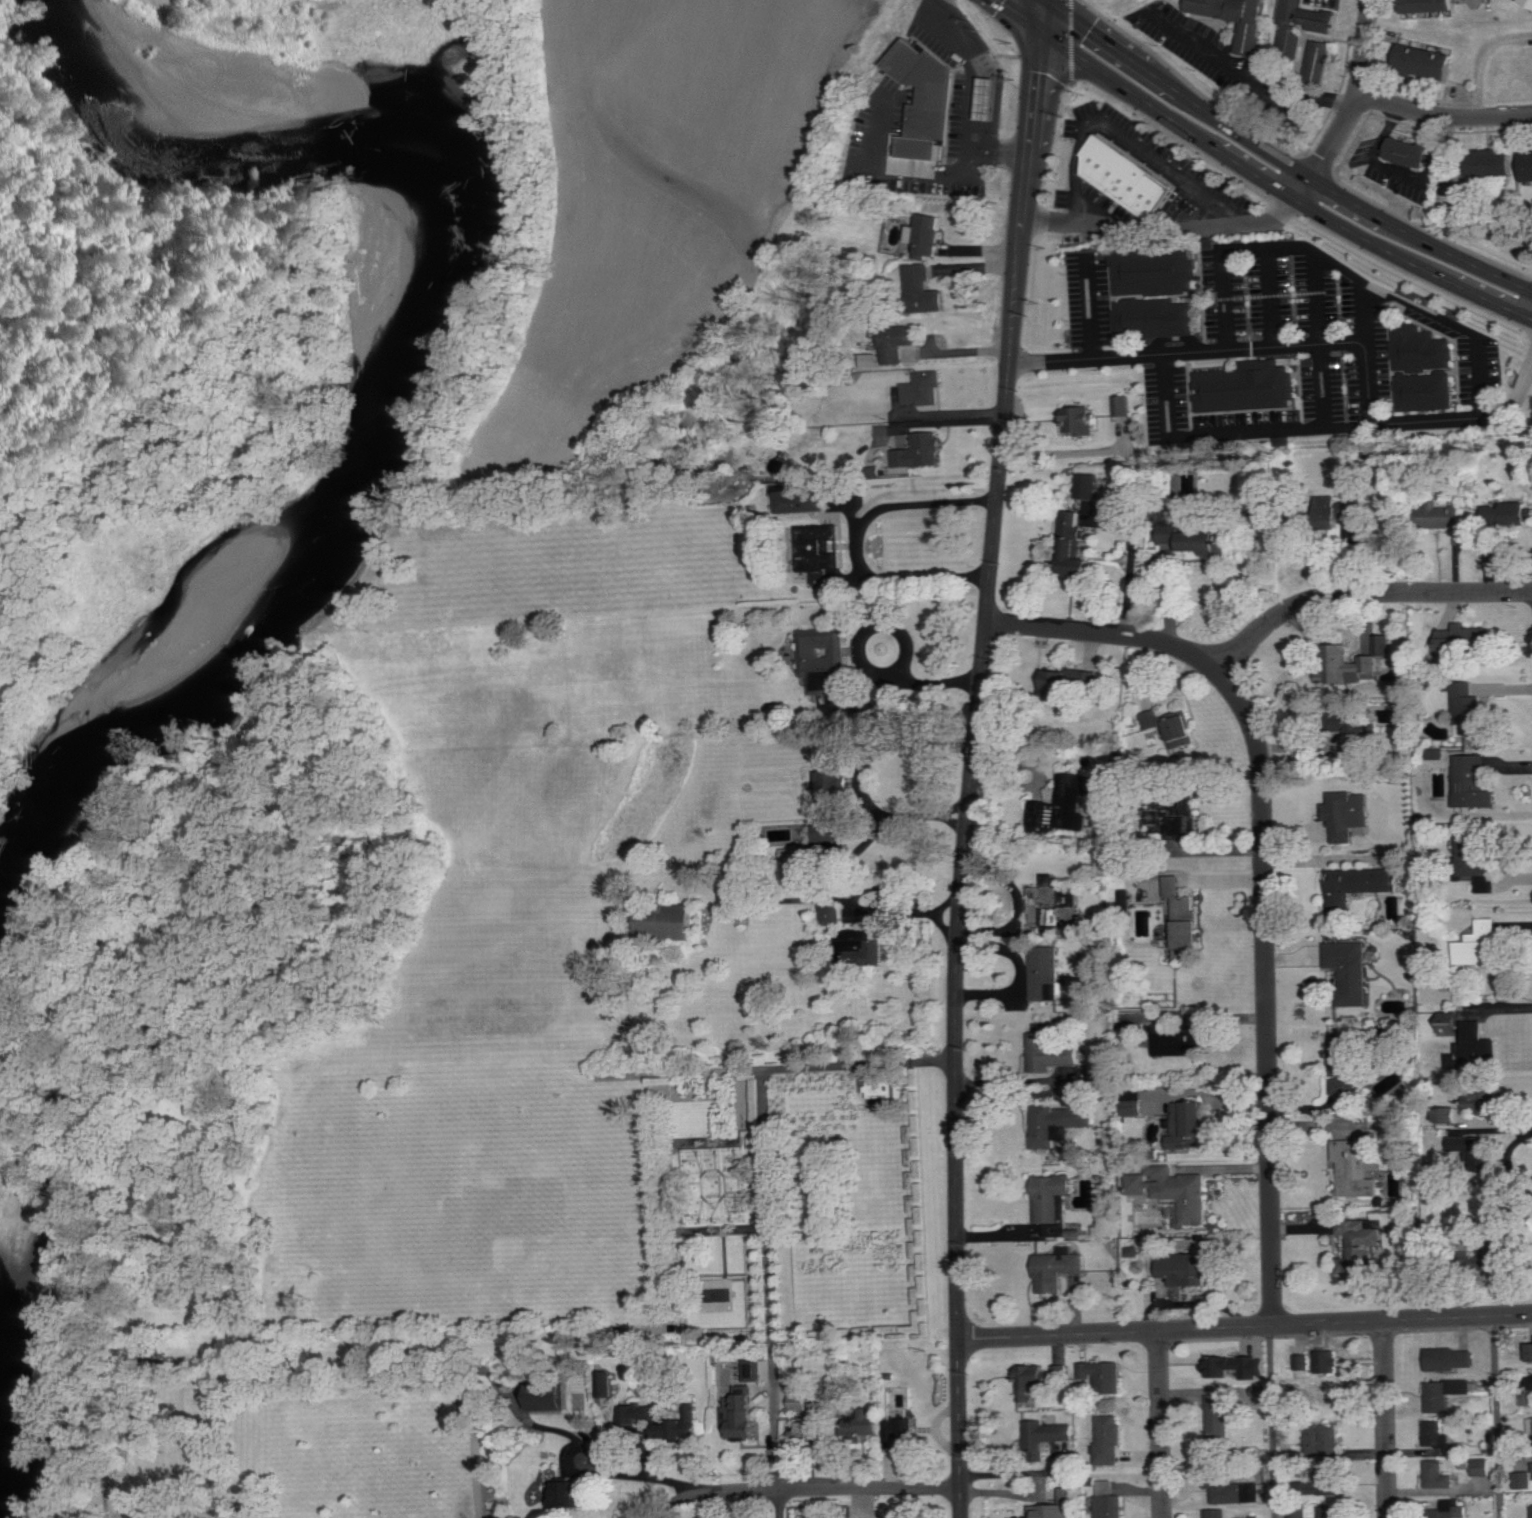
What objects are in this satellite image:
building: (1529, 2)
building: (1433, 6)
road: (1024, 12)
road: (1041, 12)
building: (1234, 18)
building: (1301, 23)
traffic signals: (1041, 24)
road: (1072, 42)
road: (1363, 46)
building: (1317, 58)
building: (1427, 61)
road: (1486, 62)
river: (176, 71)
road: (1251, 77)
road: (975, 93)
building: (984, 97)
gas station: (984, 97)
building: (923, 98)
road: (1443, 115)
road: (1332, 142)
road: (1131, 146)
building: (1409, 153)
road: (1296, 156)
parking lot: (1171, 164)
building: (1495, 164)
road: (885, 165)
building: (1529, 167)
road: (1280, 175)
building: (1124, 177)
building: (926, 235)
building: (1152, 270)
building: (924, 290)
road: (1391, 292)
road: (1270, 296)
road: (1225, 299)
parking lot: (1089, 301)
road: (1090, 304)
road: (1364, 310)
building: (1153, 317)
road: (1319, 338)
building: (899, 342)
road: (1327, 342)
parking lot: (1305, 344)
building: (1418, 347)
building: (1242, 385)
building: (924, 388)
building: (1423, 390)
building: (1119, 406)
road: (957, 416)
building: (1077, 419)
road: (1023, 424)
road: (1228, 433)
building: (920, 451)
road: (1058, 454)
building: (1088, 485)
building: (802, 501)
river: (377, 503)
building: (1351, 504)
building: (1174, 513)
building: (1509, 513)
building: (1441, 514)
building: (1195, 539)
road: (858, 540)
building: (1074, 544)
building: (820, 549)
road: (1361, 593)
building: (1460, 640)
building: (823, 660)
building: (1355, 662)
building: (1086, 676)
road: (980, 680)
building: (1059, 685)
building: (1471, 709)
building: (1171, 726)
building: (1359, 740)
building: (1437, 757)
road: (861, 774)
building: (1473, 783)
building: (834, 797)
building: (1075, 801)
building: (1347, 814)
building: (1185, 821)
building: (798, 854)
building: (1479, 862)
road: (1262, 873)
building: (1356, 887)
building: (1051, 901)
building: (833, 914)
building: (1184, 916)
building: (669, 922)
building: (1479, 945)
building: (867, 952)
building: (1351, 970)
building: (1045, 973)
building: (1451, 1022)
building: (1180, 1041)
building: (1476, 1048)
building: (1050, 1050)
road: (859, 1063)
building: (1346, 1064)
building: (881, 1090)
building: (1487, 1099)
building: (1133, 1105)
building: (1447, 1116)
building: (1058, 1123)
building: (1189, 1125)
building: (1472, 1148)
building: (1357, 1167)
building: (716, 1185)
building: (1175, 1191)
building: (1051, 1202)
building: (1359, 1245)
building: (1133, 1252)
building: (1491, 1256)
building: (1058, 1269)
building: (1185, 1270)
road: (771, 1291)
road: (1244, 1327)
building: (1530, 1352)
river: (4, 1354)
building: (1449, 1360)
building: (1329, 1364)
building: (1230, 1367)
building: (1260, 1367)
building: (1102, 1377)
building: (1040, 1378)
building: (603, 1384)
building: (725, 1385)
building: (1261, 1390)
building: (1445, 1394)
building: (800, 1395)
building: (552, 1397)
building: (1526, 1399)
building: (741, 1415)
building: (637, 1416)
building: (1220, 1417)
road: (1495, 1417)
road: (1385, 1419)
road: (1271, 1421)
road: (1160, 1424)
building: (863, 1425)
building: (682, 1426)
building: (815, 1426)
building: (1529, 1427)
road: (959, 1428)
building: (900, 1431)
building: (1045, 1437)
building: (1441, 1438)
building: (1108, 1440)
building: (1325, 1442)
building: (1483, 1467)
road: (643, 1474)
building: (1439, 1476)
building: (1523, 1480)
building: (1327, 1483)
building: (1231, 1487)
road: (799, 1490)
building: (568, 1492)
building: (1070, 1497)
building: (1109, 1501)
building: (1449, 1509)
building: (1331, 1512)
building: (1216, 1513)
building: (1299, 1514)
building: (1257, 1517)

